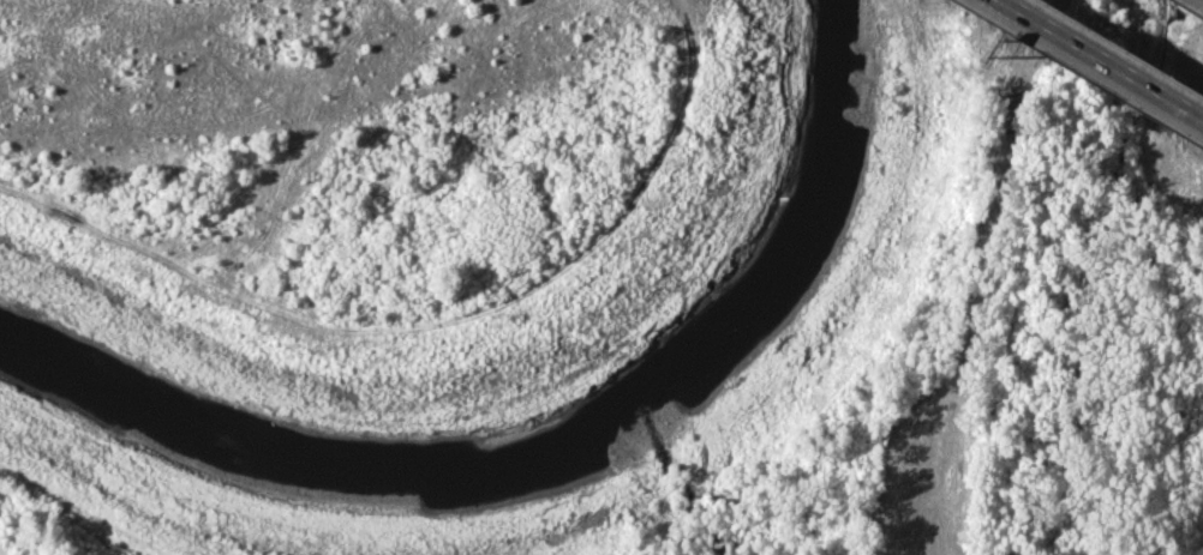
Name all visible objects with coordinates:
road: (1102, 60)
river: (545, 445)

